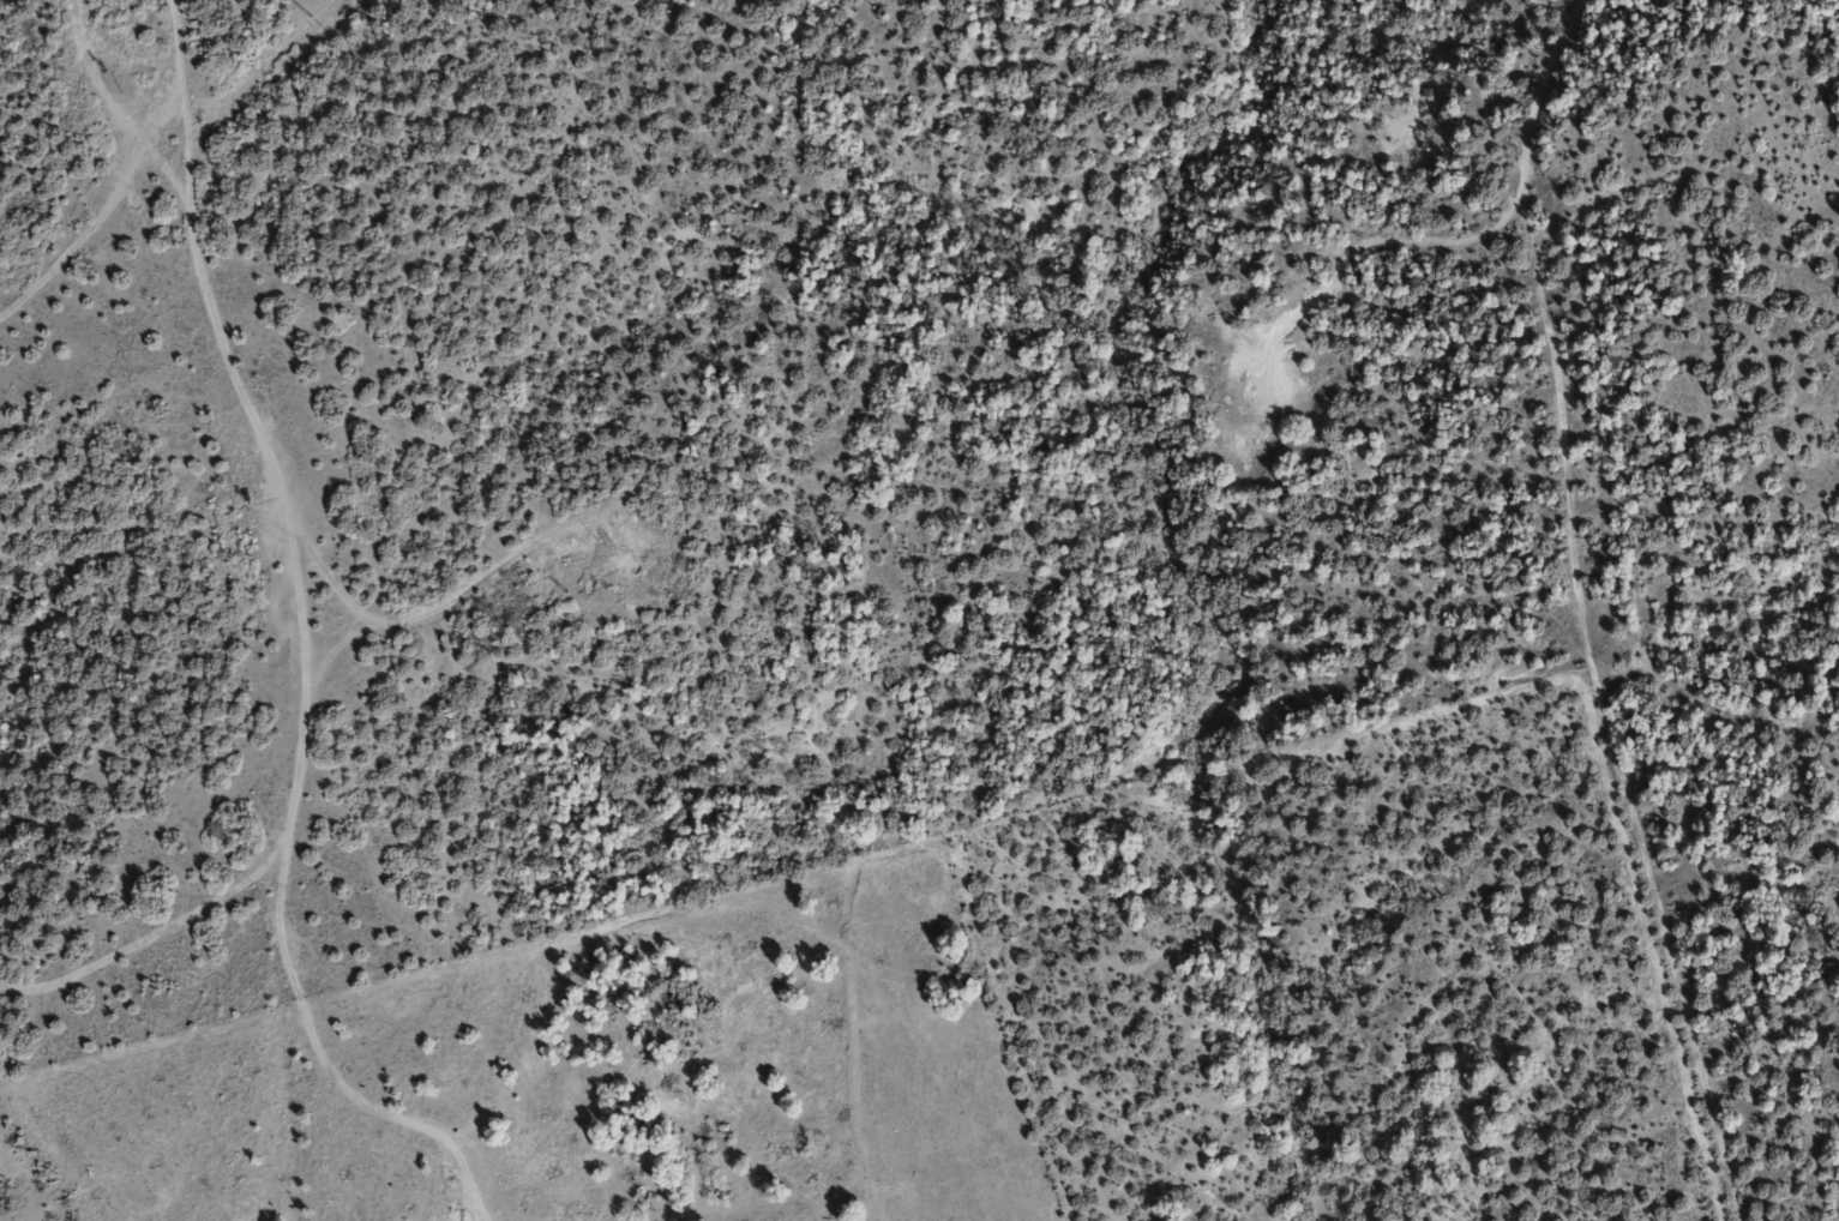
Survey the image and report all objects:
power tower: (317, 20)

